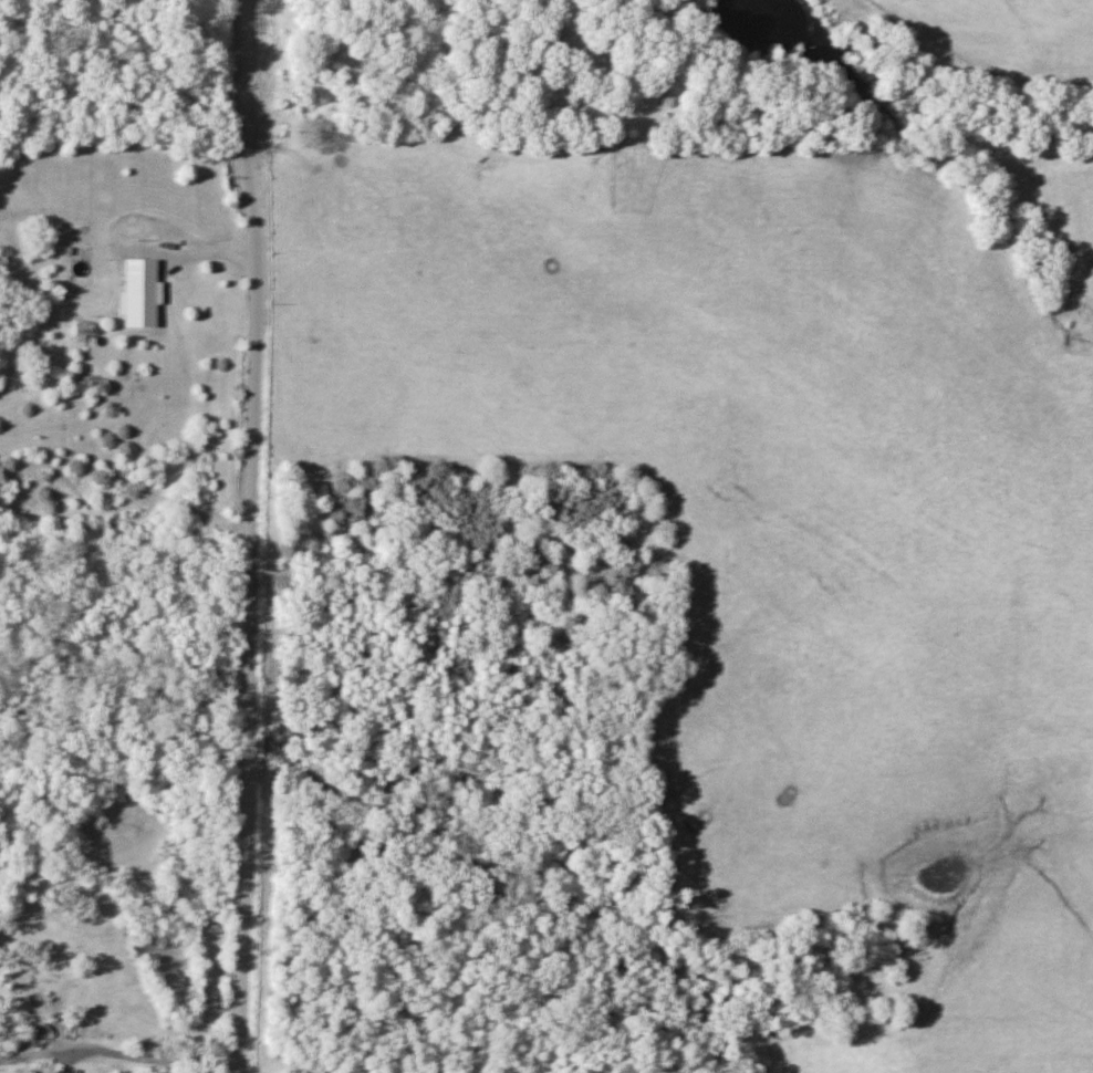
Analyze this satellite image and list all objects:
road: (239, 72)
building: (128, 302)
road: (250, 607)
road: (148, 1058)

